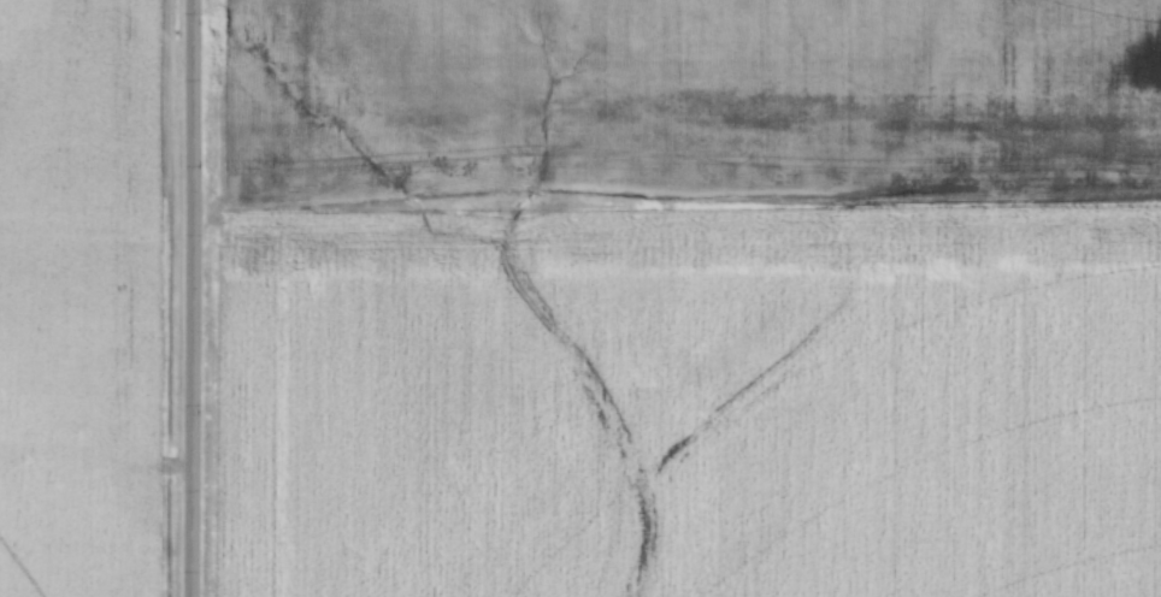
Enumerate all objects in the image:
road: (188, 298)

